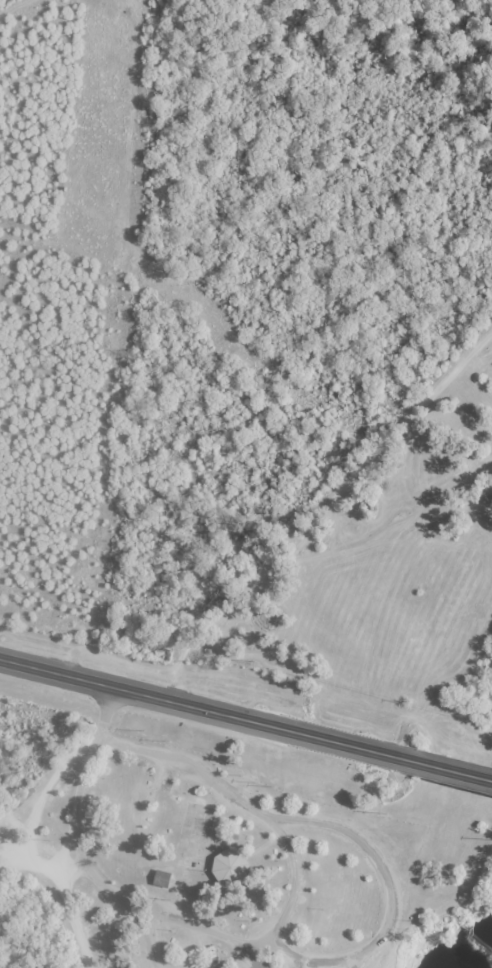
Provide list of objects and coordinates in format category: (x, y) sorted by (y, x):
road: (462, 399)
road: (476, 446)
road: (428, 468)
road: (312, 523)
road: (414, 588)
road: (417, 599)
road: (179, 662)
road: (322, 665)
road: (422, 699)
road: (197, 704)
road: (107, 710)
road: (490, 717)
park: (291, 730)
road: (100, 740)
road: (443, 766)
road: (255, 808)
road: (40, 809)
road: (291, 823)
park: (196, 830)
road: (215, 843)
road: (264, 844)
road: (67, 848)
building: (230, 868)
building: (164, 879)
road: (390, 881)
road: (208, 882)
road: (185, 884)
road: (106, 890)
road: (199, 897)
road: (451, 910)
road: (72, 912)
dam: (472, 939)
river: (473, 942)
road: (156, 943)
road: (284, 950)
road: (253, 957)
road: (232, 961)
road: (328, 965)

